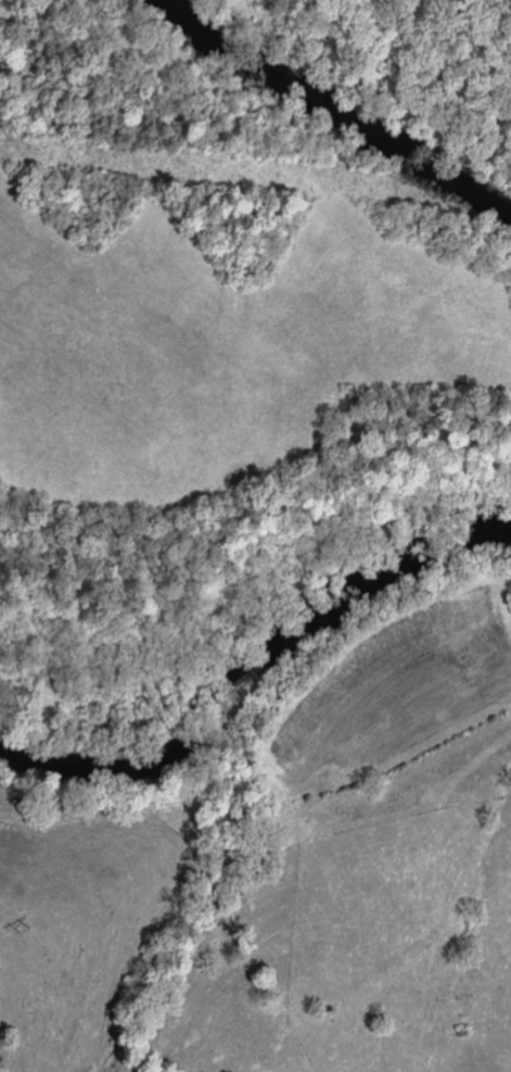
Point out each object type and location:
power tower: (24, 925)

